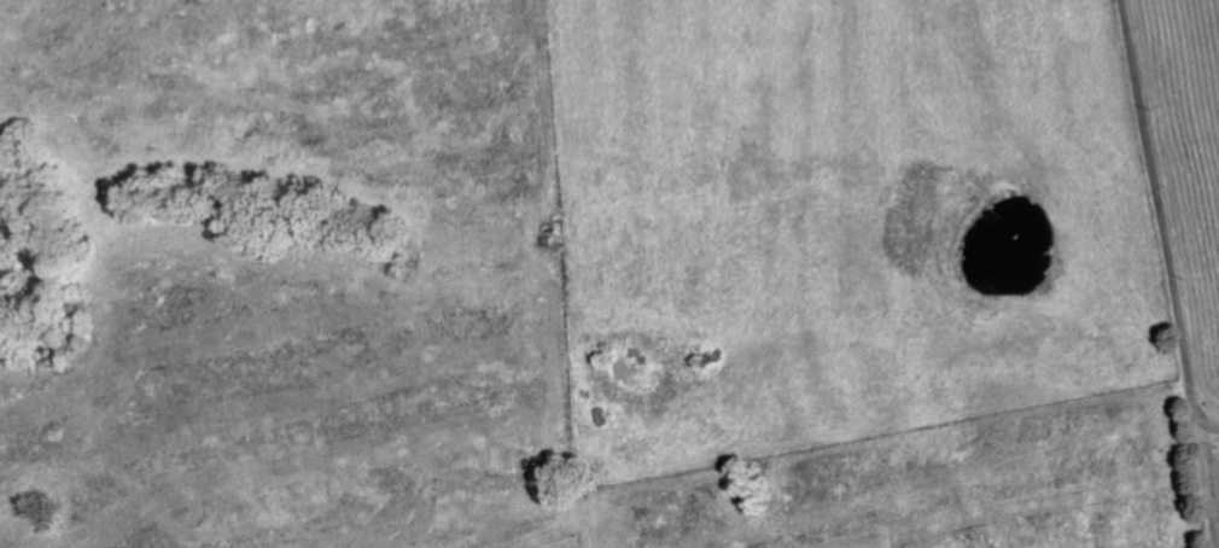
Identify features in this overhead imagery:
road: (1168, 273)

